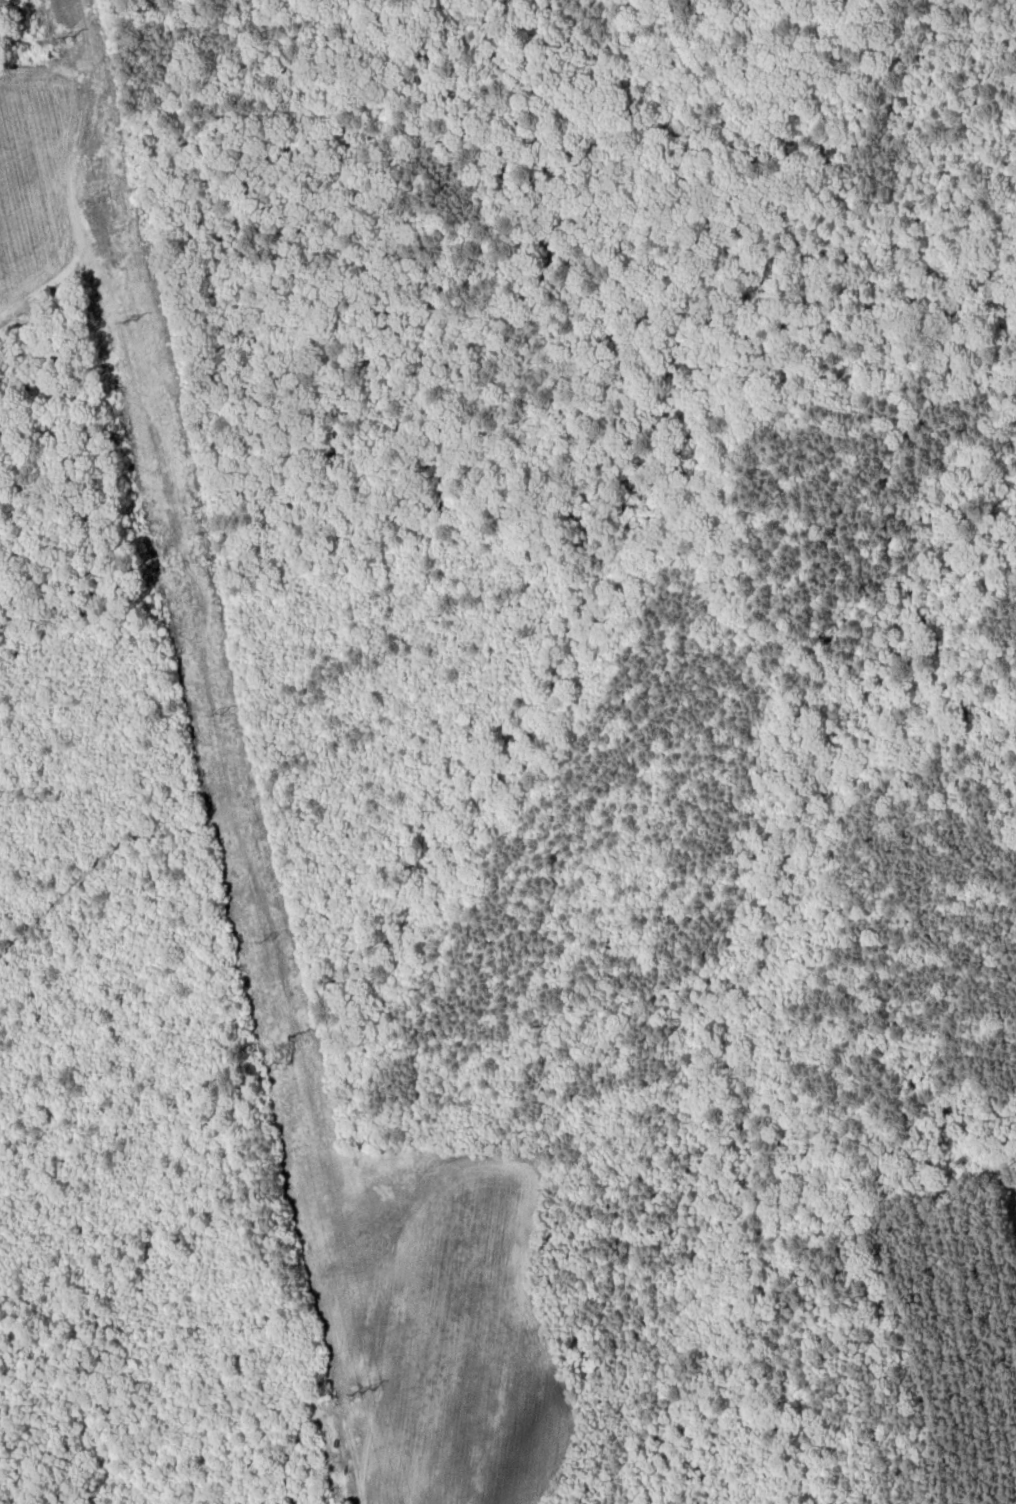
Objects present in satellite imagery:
power tower: (71, 35)
power tower: (131, 321)
power tower: (220, 714)
power tower: (268, 942)
power tower: (364, 1391)

